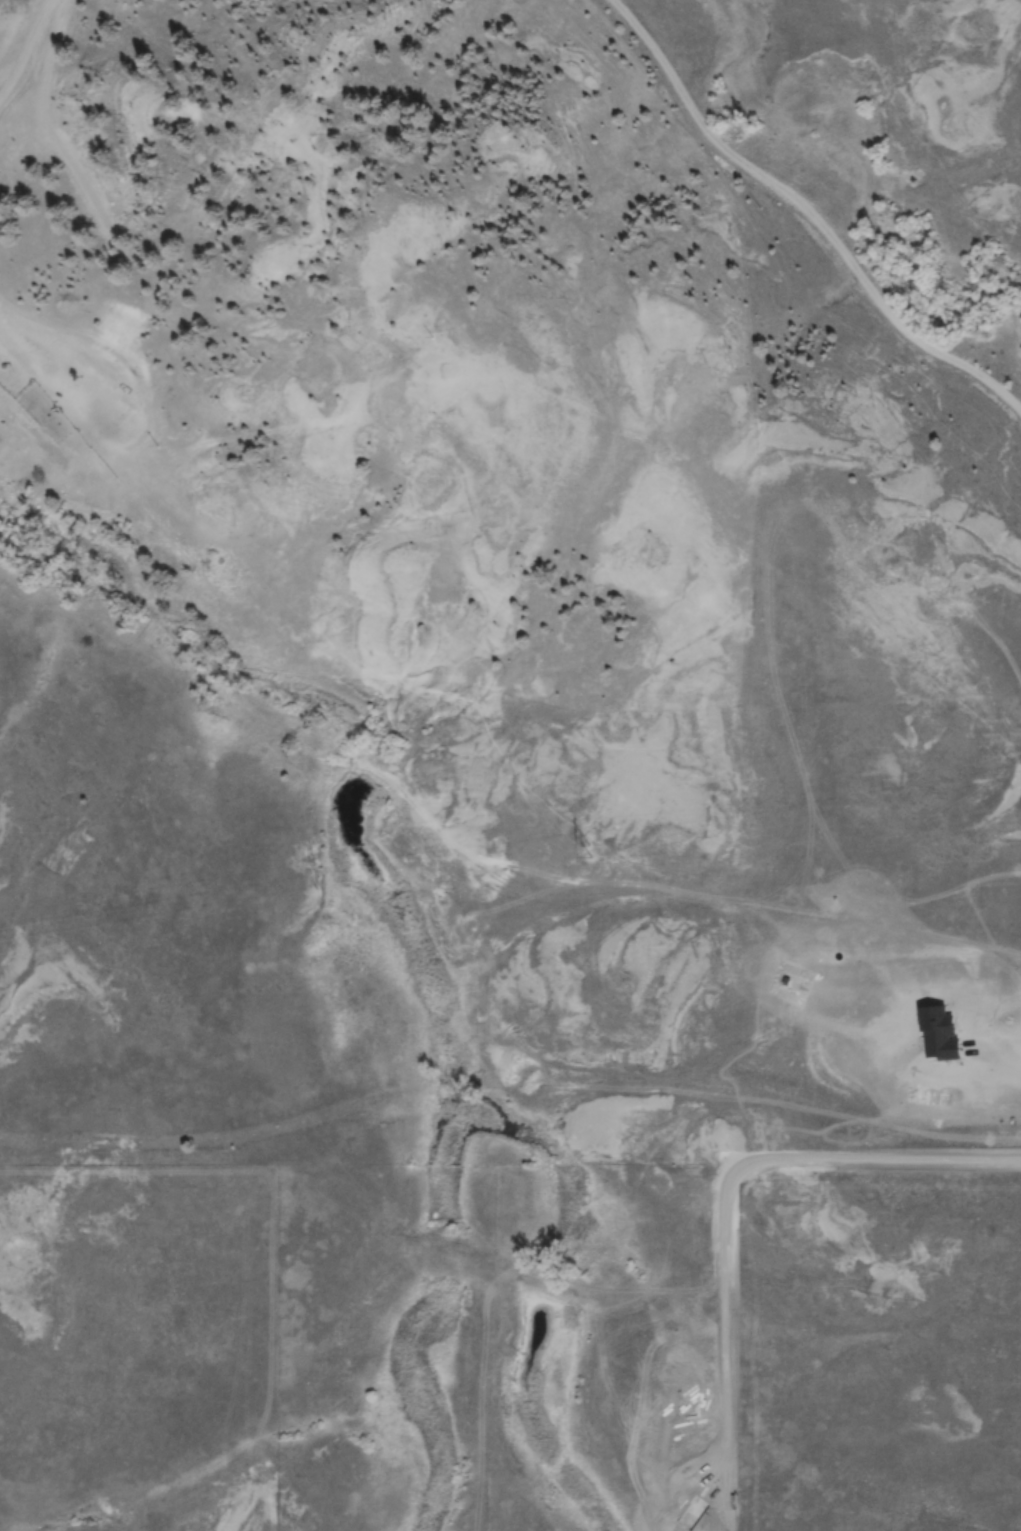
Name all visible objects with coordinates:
road: (806, 237)
power tower: (589, 851)

